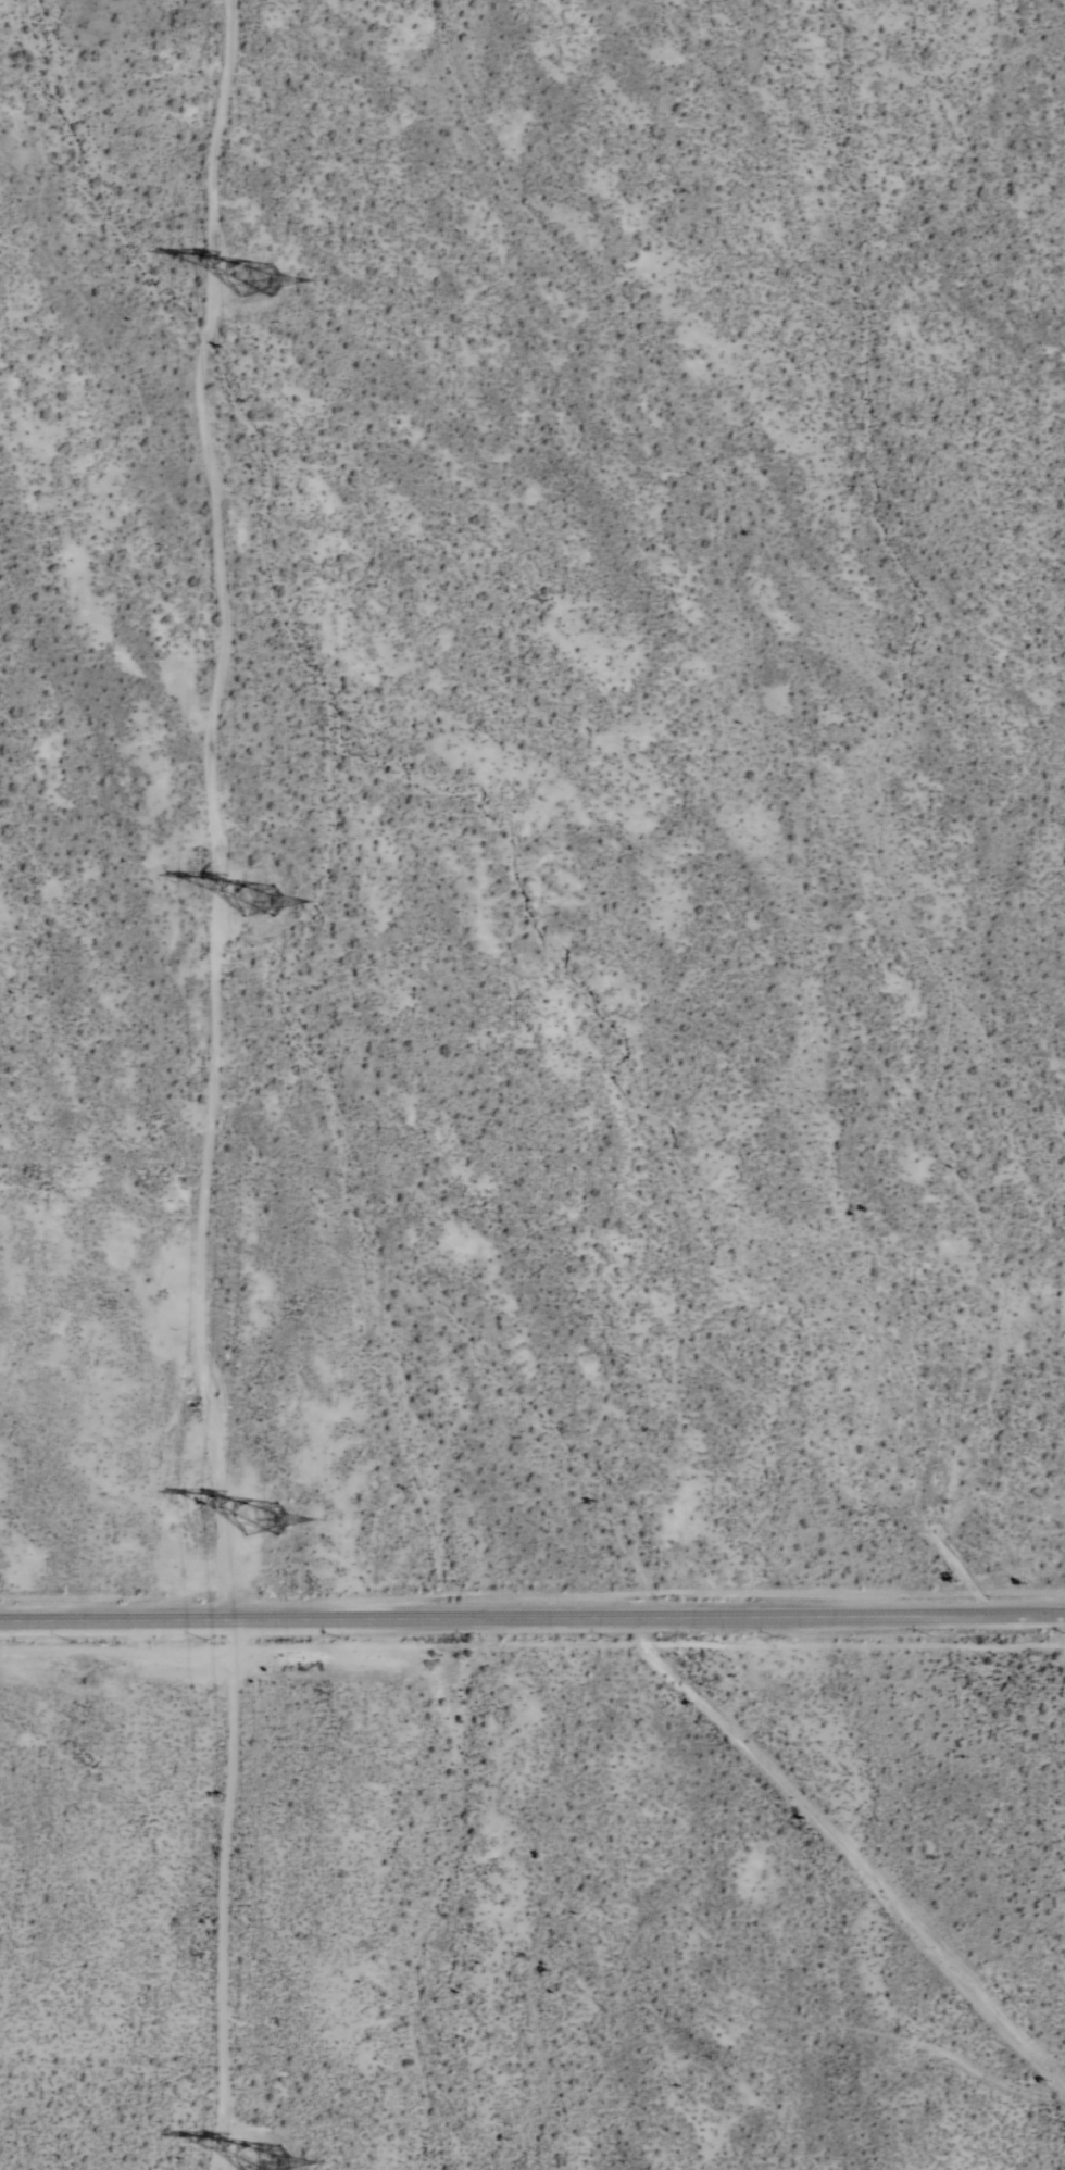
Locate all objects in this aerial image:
power tower: (253, 274)
power tower: (254, 898)
power tower: (253, 1517)
road: (532, 1620)
power tower: (253, 2154)

